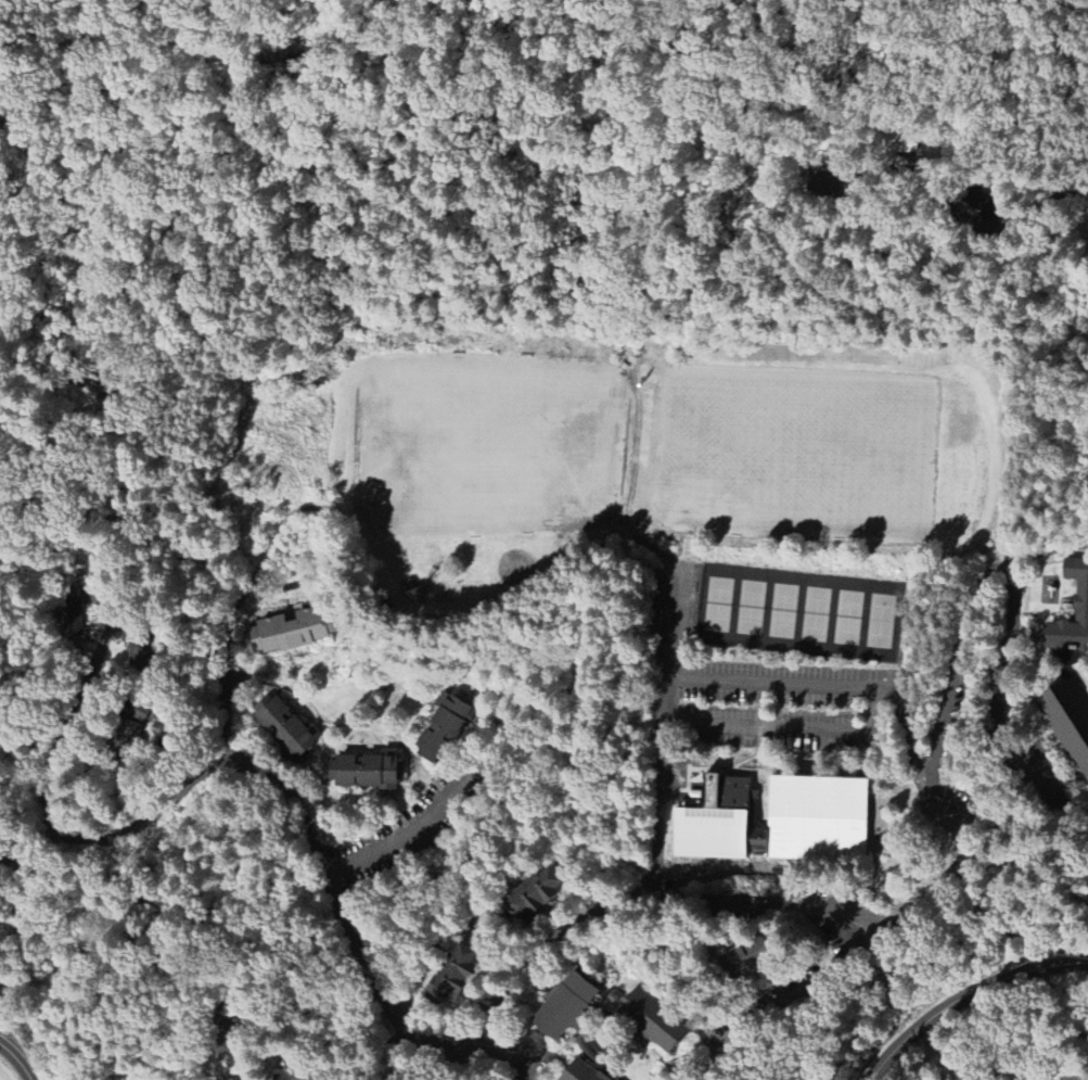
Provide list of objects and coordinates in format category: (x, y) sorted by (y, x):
road: (960, 219)
park: (285, 433)
park: (667, 449)
road: (129, 561)
road: (239, 607)
building: (1071, 607)
park: (801, 614)
building: (72, 617)
building: (290, 628)
building: (137, 645)
building: (652, 666)
road: (957, 687)
road: (990, 703)
parking lot: (783, 707)
building: (1067, 717)
building: (129, 724)
building: (284, 726)
building: (444, 726)
road: (666, 732)
road: (914, 755)
building: (362, 768)
building: (818, 816)
building: (718, 823)
parking lot: (405, 830)
road: (1000, 856)
building: (535, 892)
road: (355, 946)
building: (757, 953)
building: (450, 976)
road: (809, 988)
road: (963, 994)
building: (565, 1005)
building: (649, 1020)
building: (217, 1031)
road: (328, 1034)
road: (18, 1059)
road: (509, 1063)
road: (717, 1069)
building: (297, 1071)
building: (588, 1071)
crop: (4, 1075)
road: (1071, 1076)
crop: (82, 1078)

